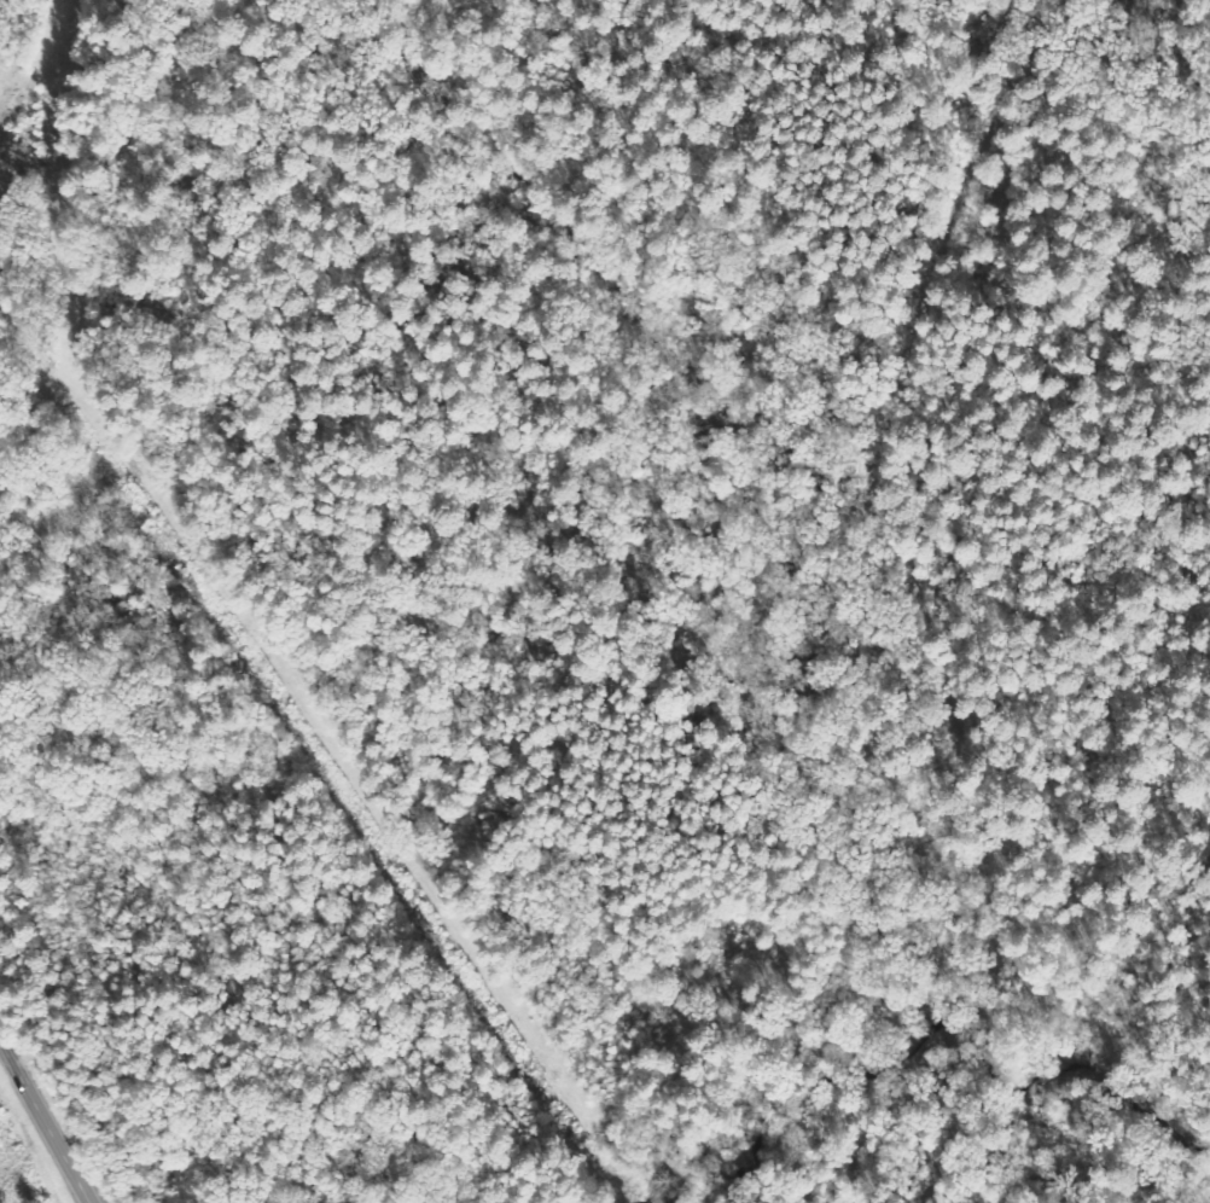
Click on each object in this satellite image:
road: (45, 1120)

